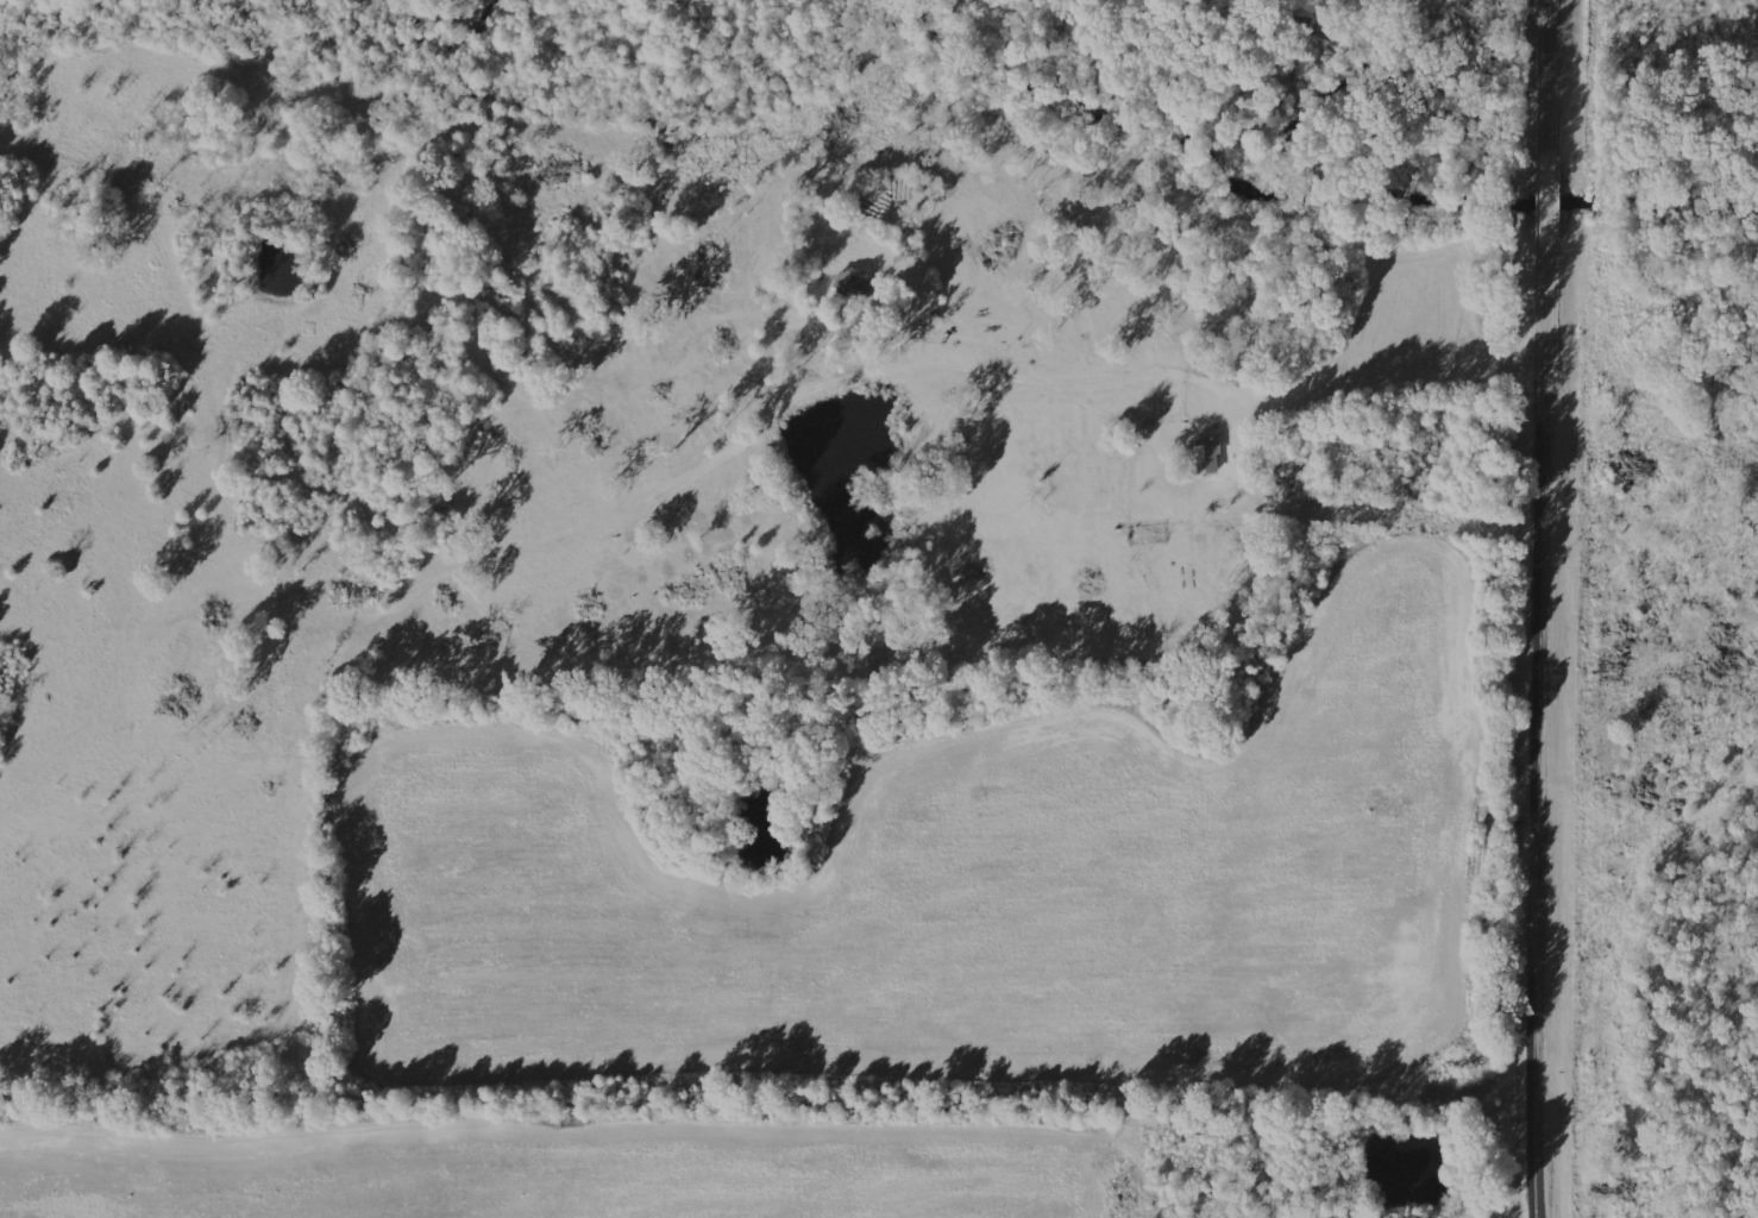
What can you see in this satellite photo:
building: (1206, 457)
road: (1546, 608)

